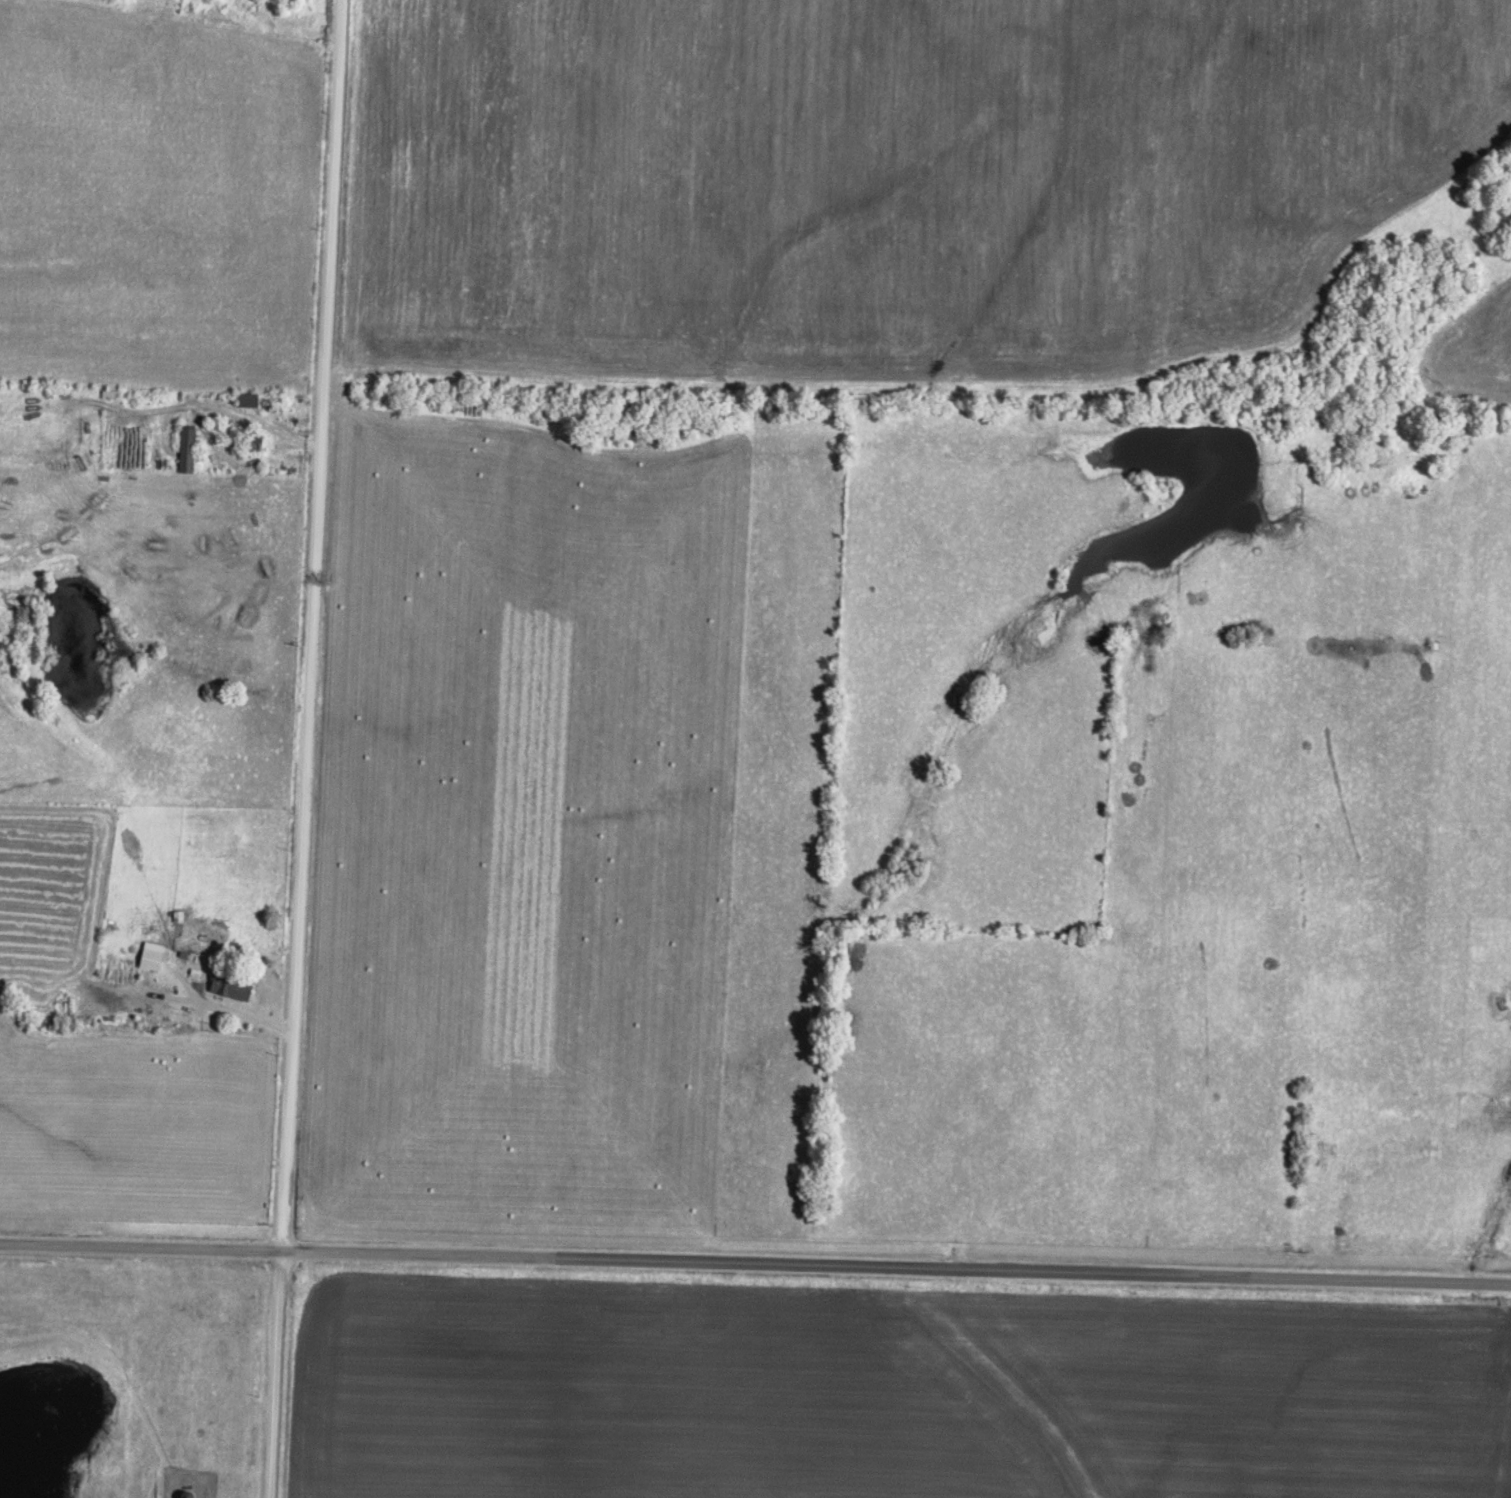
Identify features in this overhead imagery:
building: (250, 398)
road: (227, 406)
building: (189, 446)
road: (308, 748)
building: (154, 953)
building: (232, 985)
road: (227, 1008)
road: (755, 1260)

